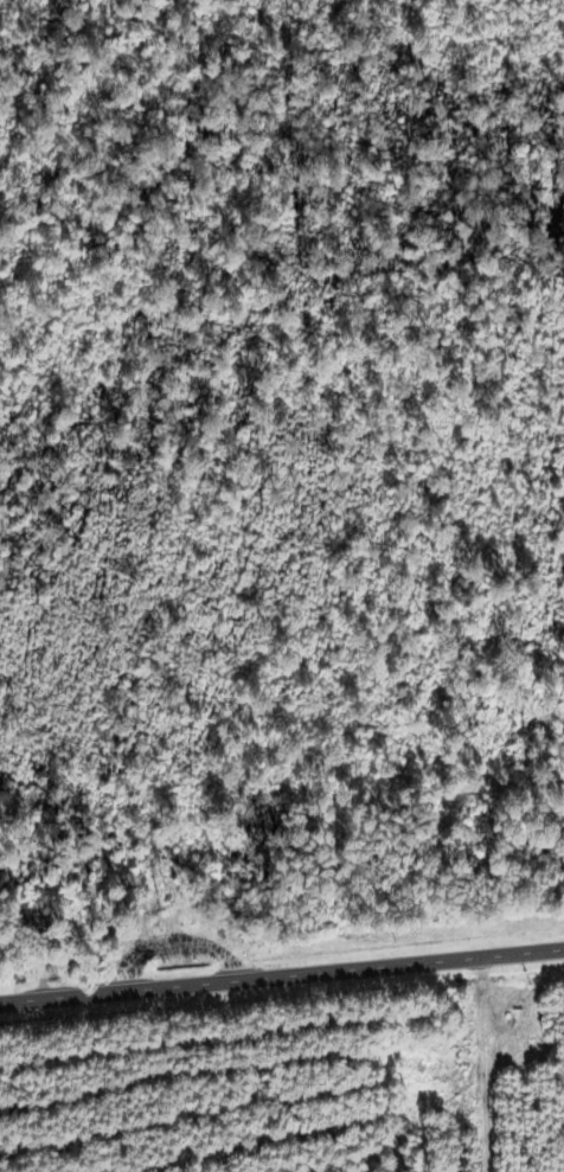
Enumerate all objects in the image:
road: (282, 975)

